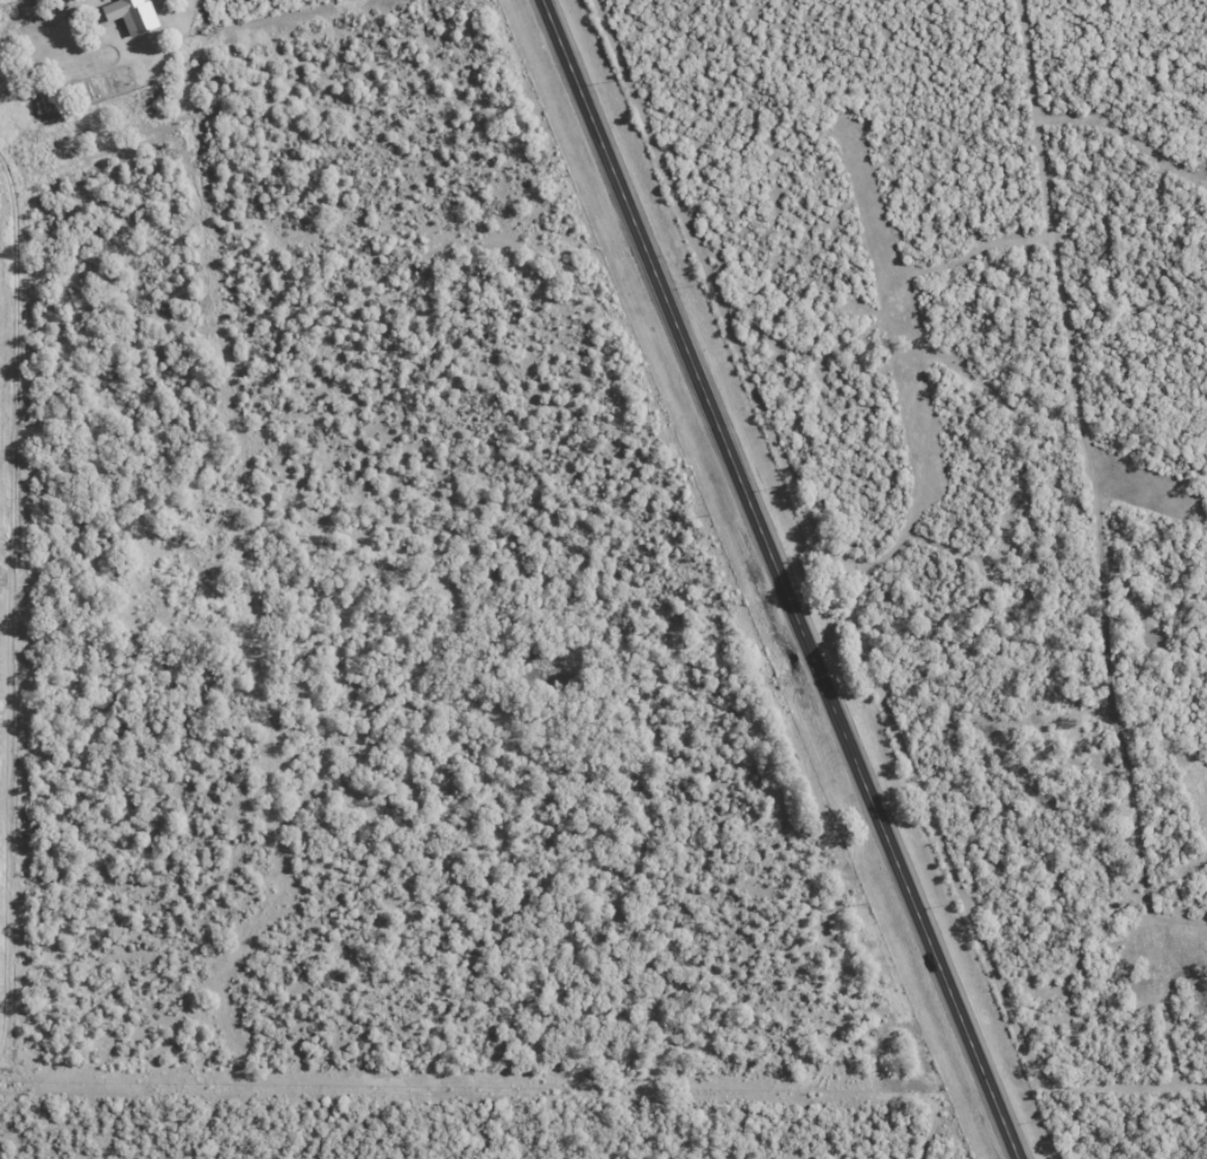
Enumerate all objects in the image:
building: (127, 15)
power tower: (562, 177)
power tower: (698, 514)
road: (784, 578)
power tower: (860, 904)

